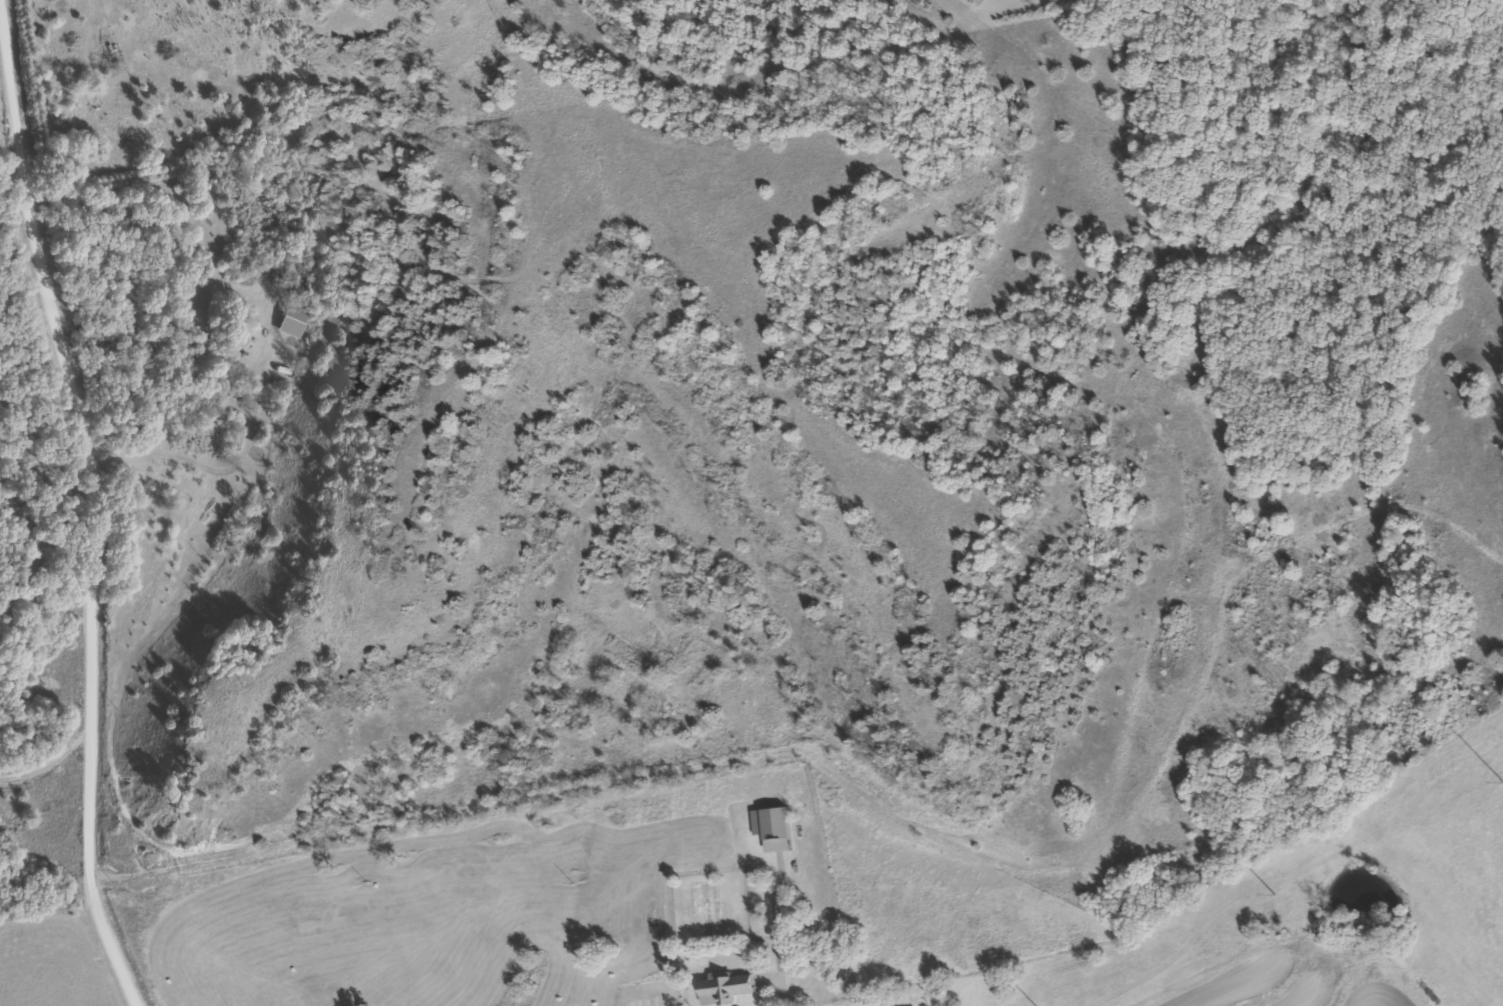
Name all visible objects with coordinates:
road: (32, 372)
road: (88, 546)
power tower: (1500, 778)
building: (769, 827)
power tower: (1270, 892)
building: (722, 987)
power tower: (1037, 1005)

